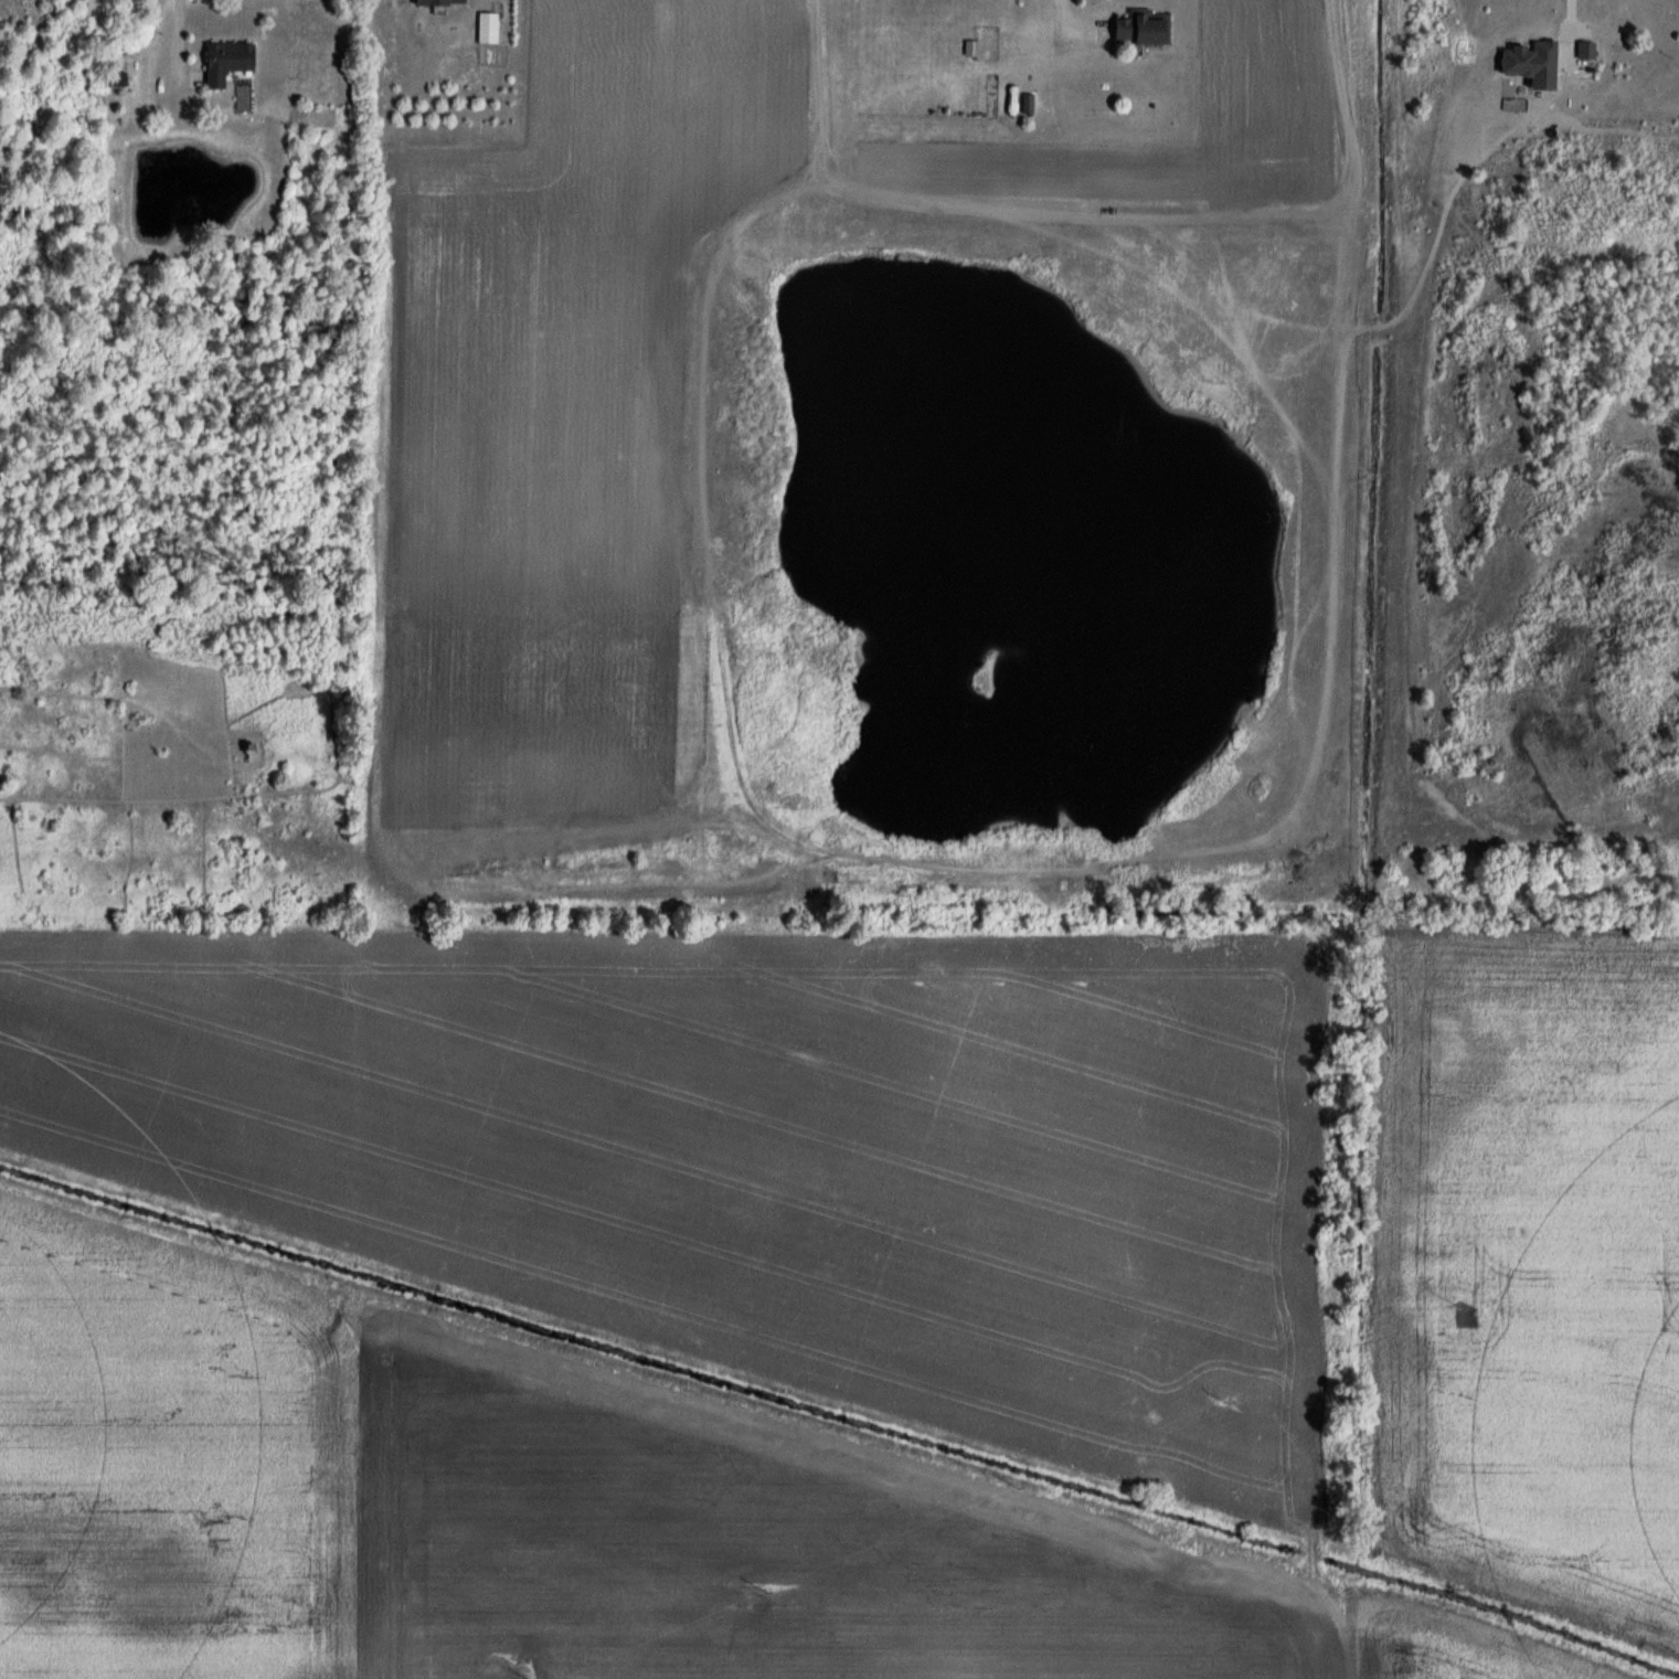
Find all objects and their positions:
building: (437, 2)
road: (1075, 22)
road: (1568, 26)
building: (488, 29)
building: (1137, 29)
road: (170, 44)
building: (223, 61)
building: (114, 79)

